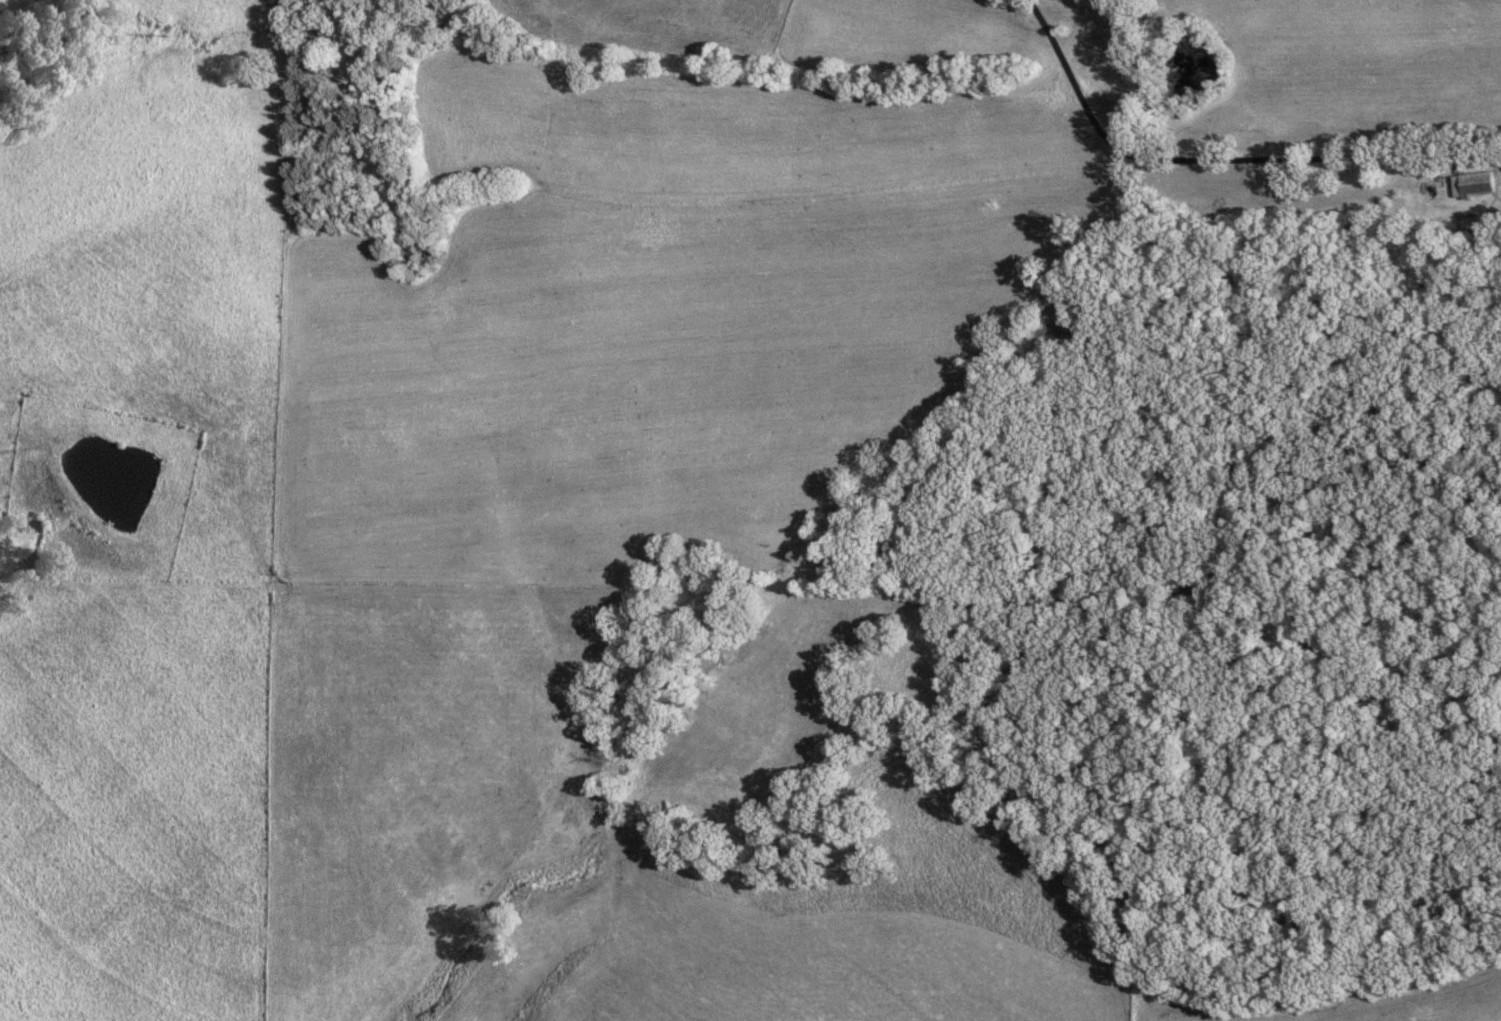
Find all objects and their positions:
road: (1220, 158)
building: (1473, 183)
building: (1473, 222)

